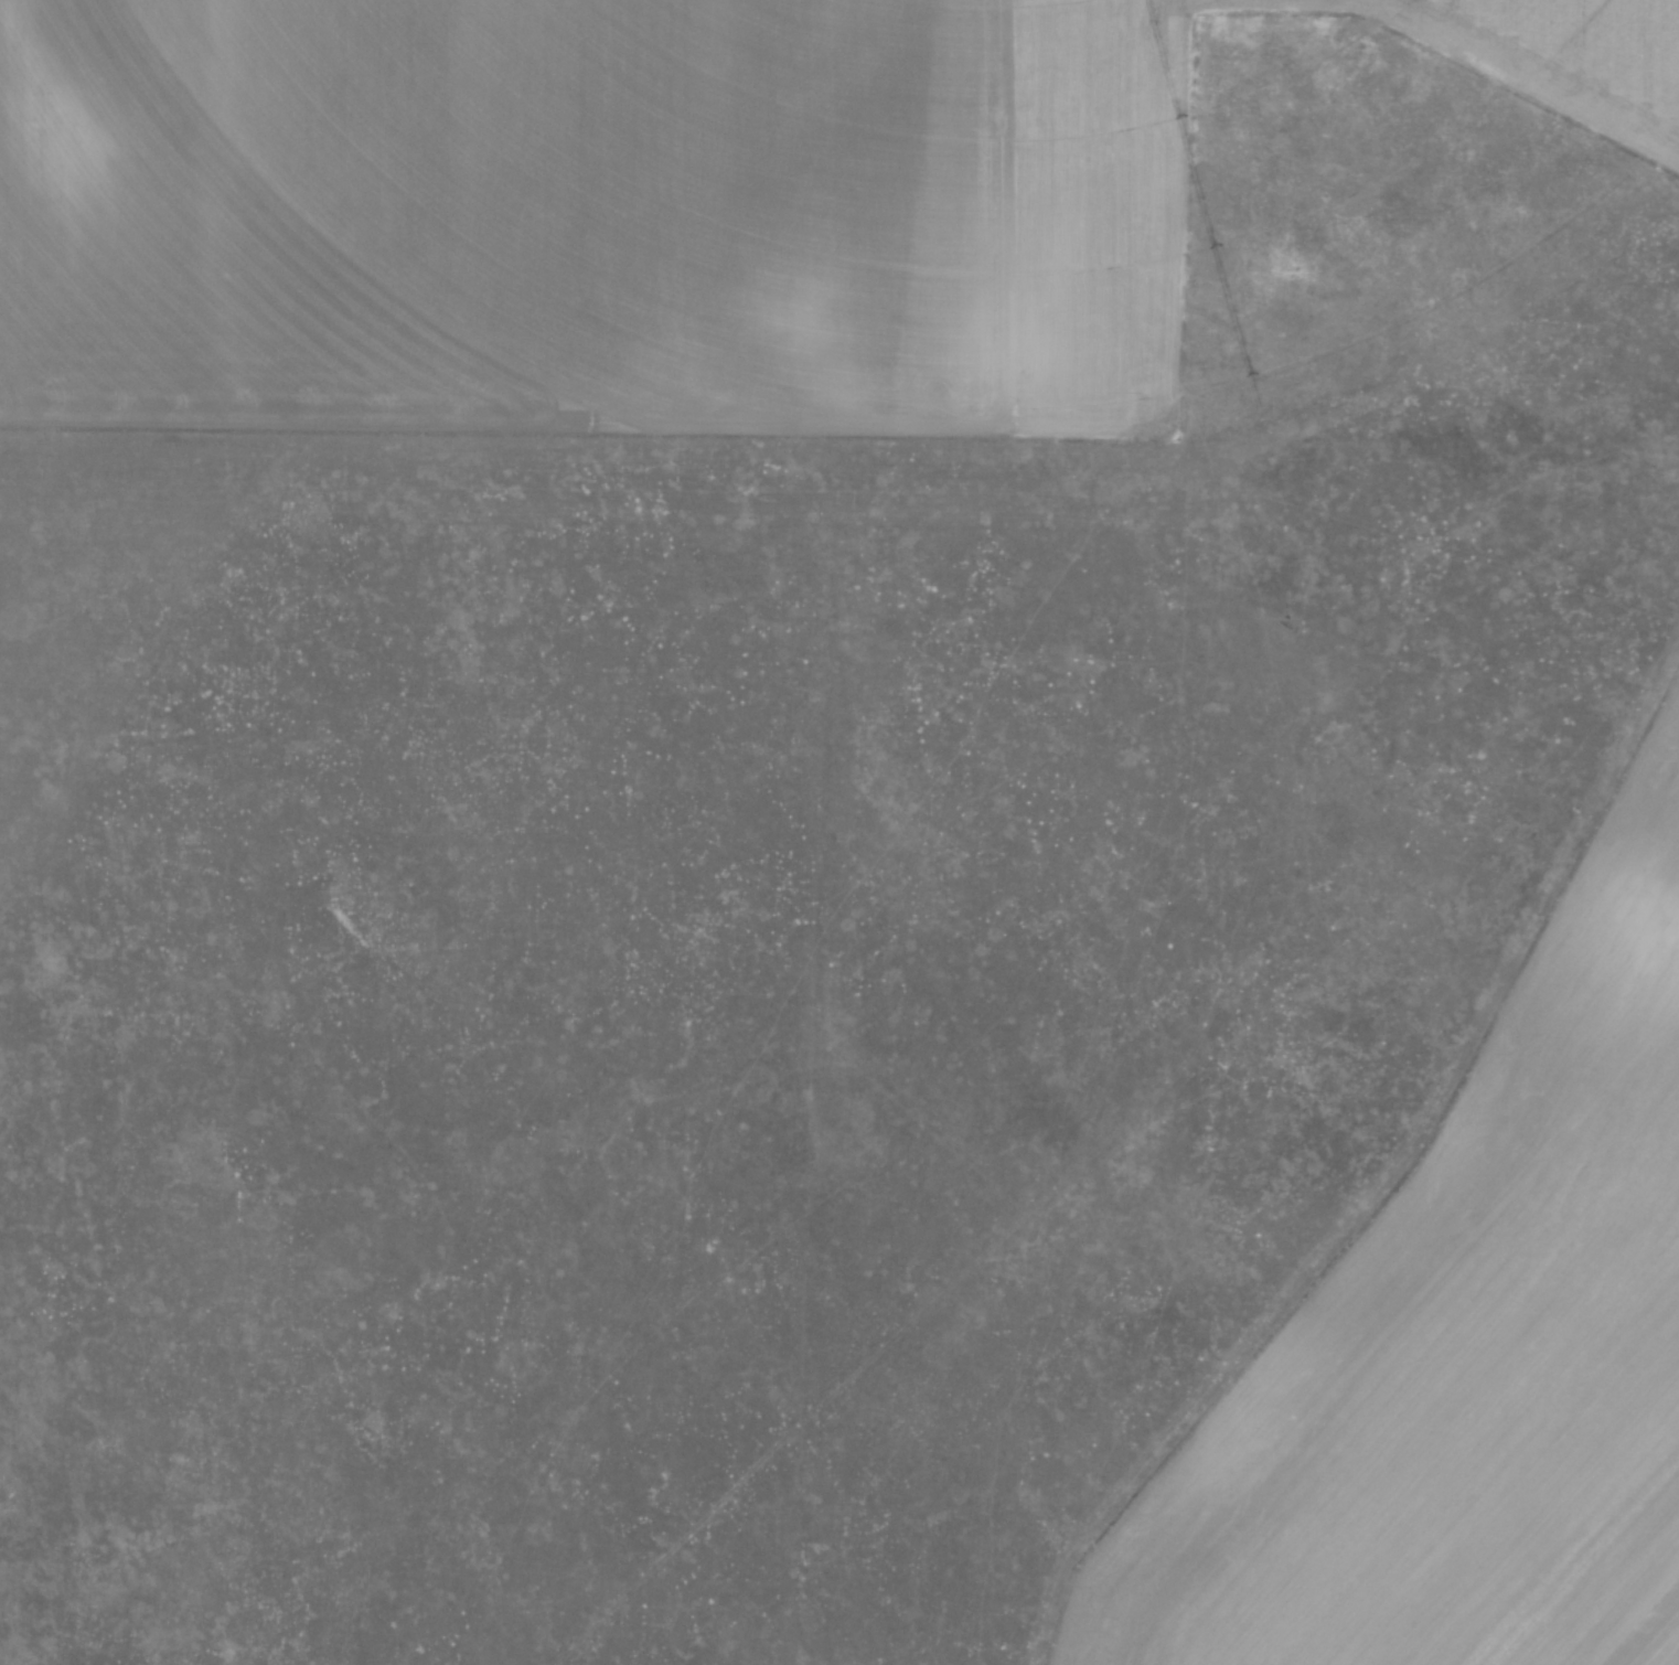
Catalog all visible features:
crop: (796, 210)
crop: (1466, 1356)

